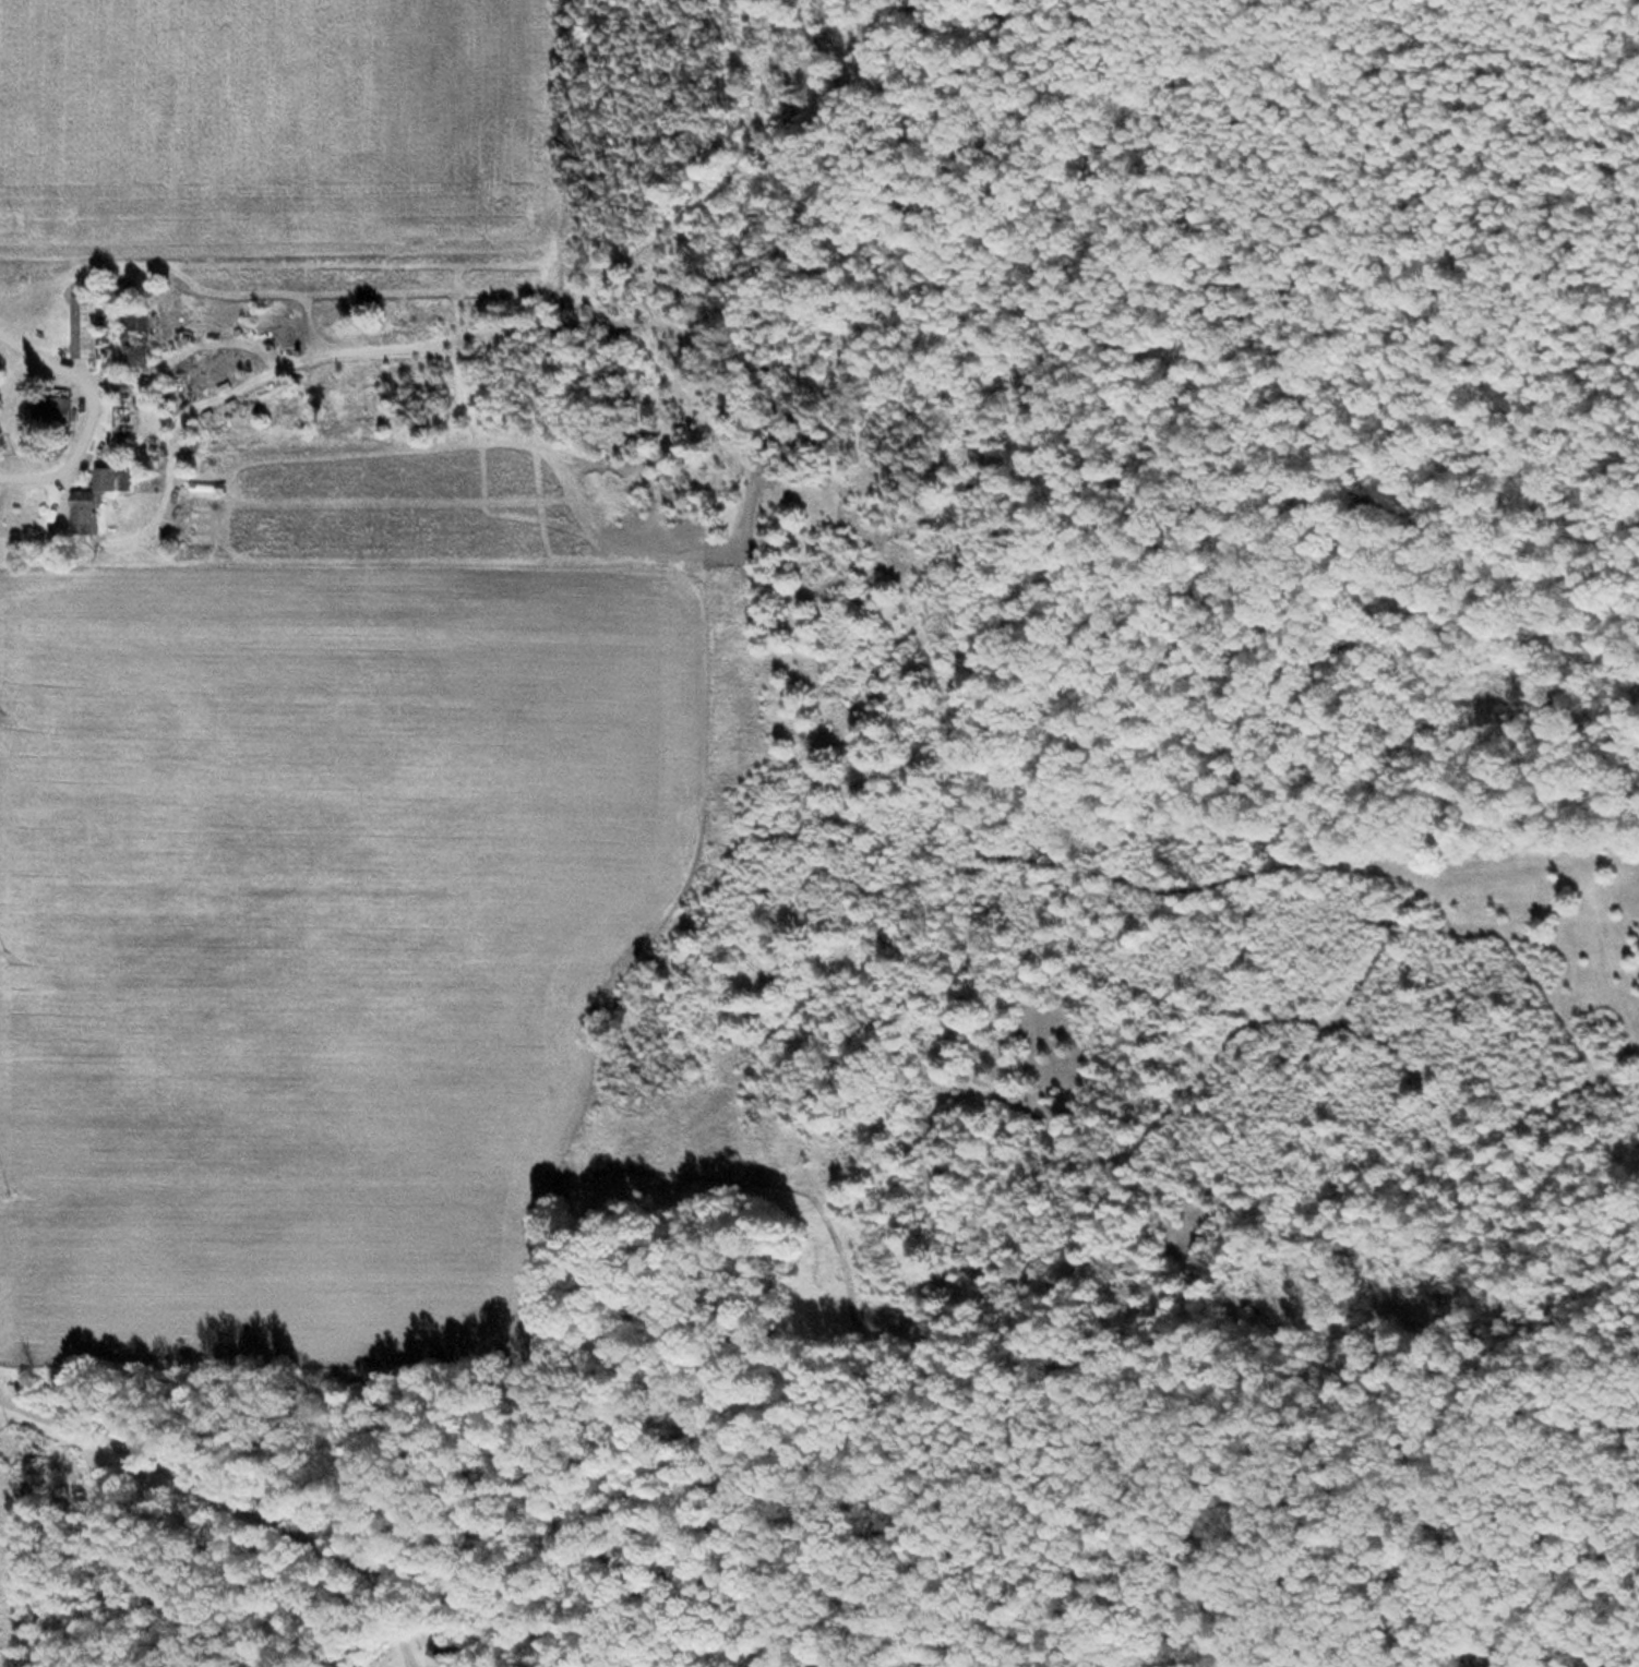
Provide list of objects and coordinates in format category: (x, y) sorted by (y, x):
building: (81, 327)
building: (132, 338)
building: (50, 410)
building: (92, 500)
road: (310, 1572)
building: (441, 1651)

